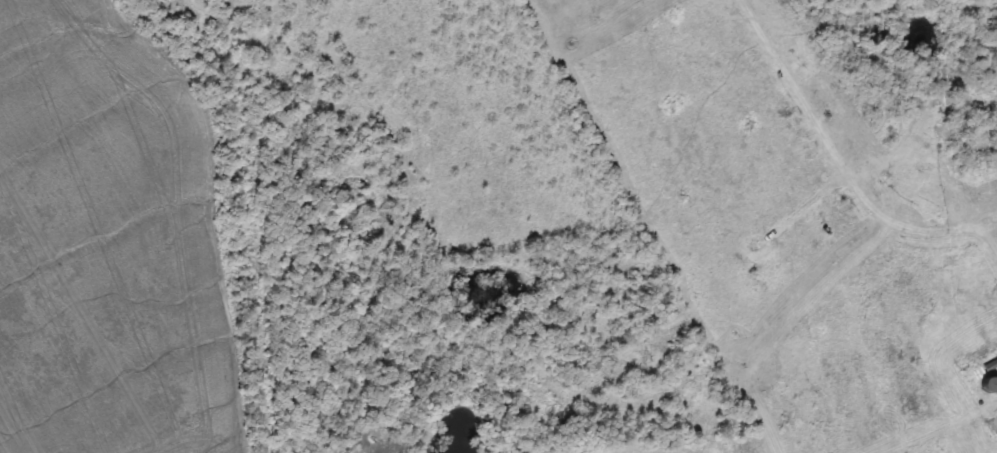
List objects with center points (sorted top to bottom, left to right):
road: (968, 416)

